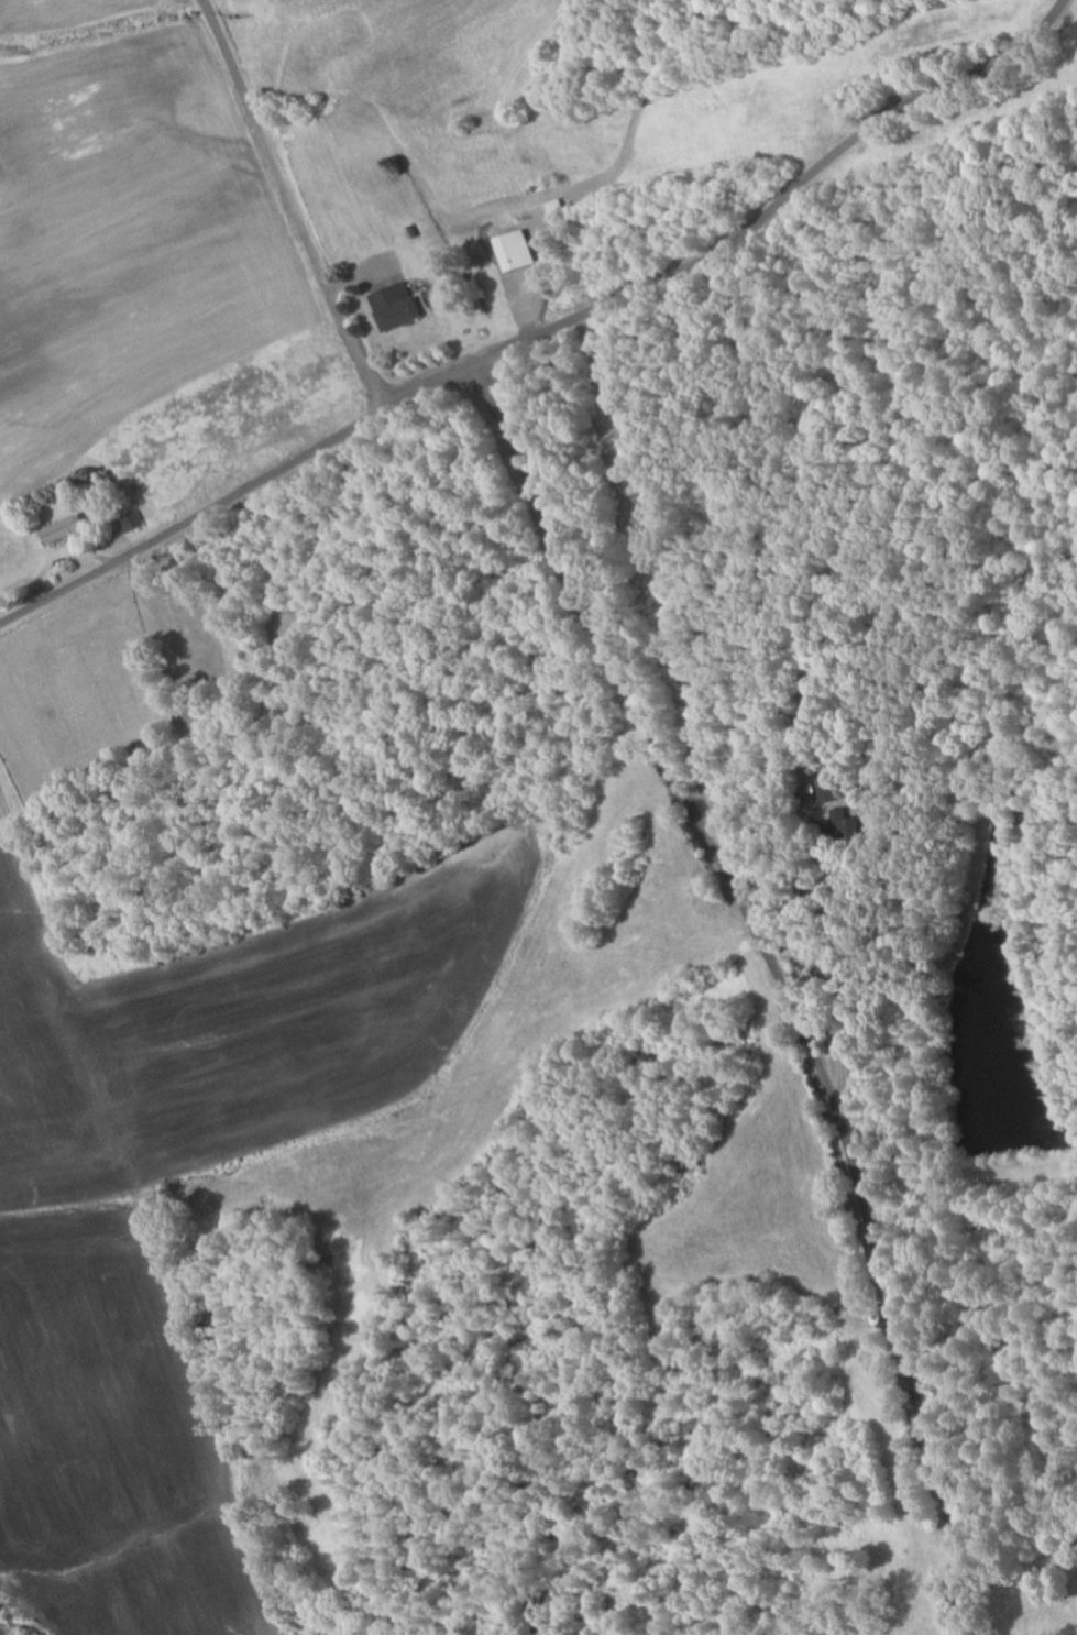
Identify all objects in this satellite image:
road: (289, 205)
building: (515, 252)
building: (396, 308)
road: (548, 329)
building: (132, 522)
building: (63, 530)
building: (832, 789)
road: (779, 979)
road: (881, 1607)

